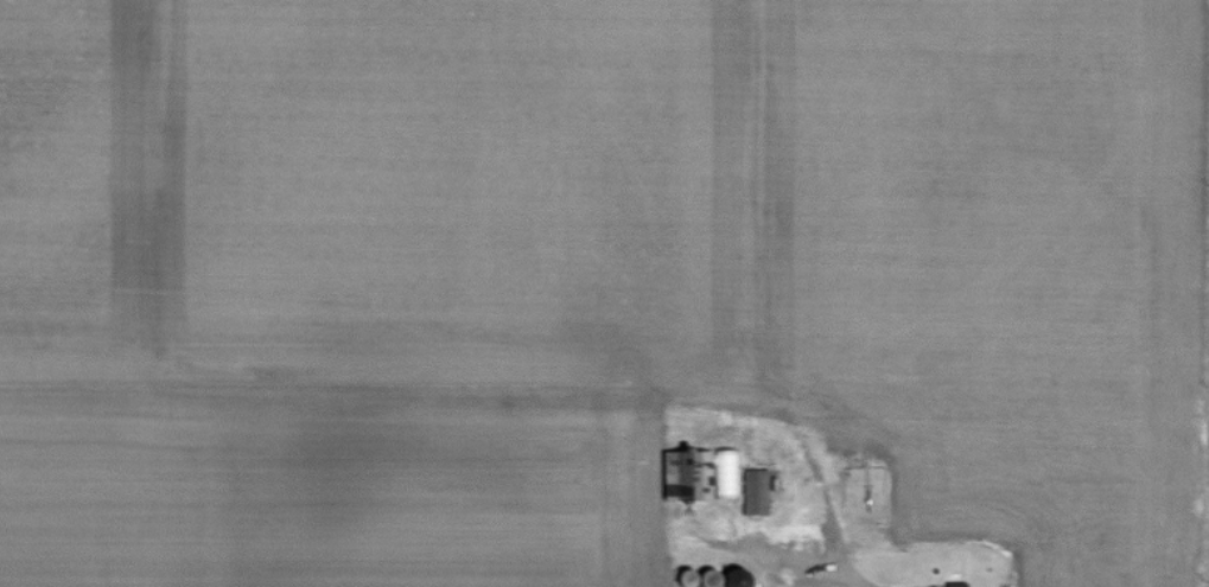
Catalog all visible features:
building: (753, 493)

